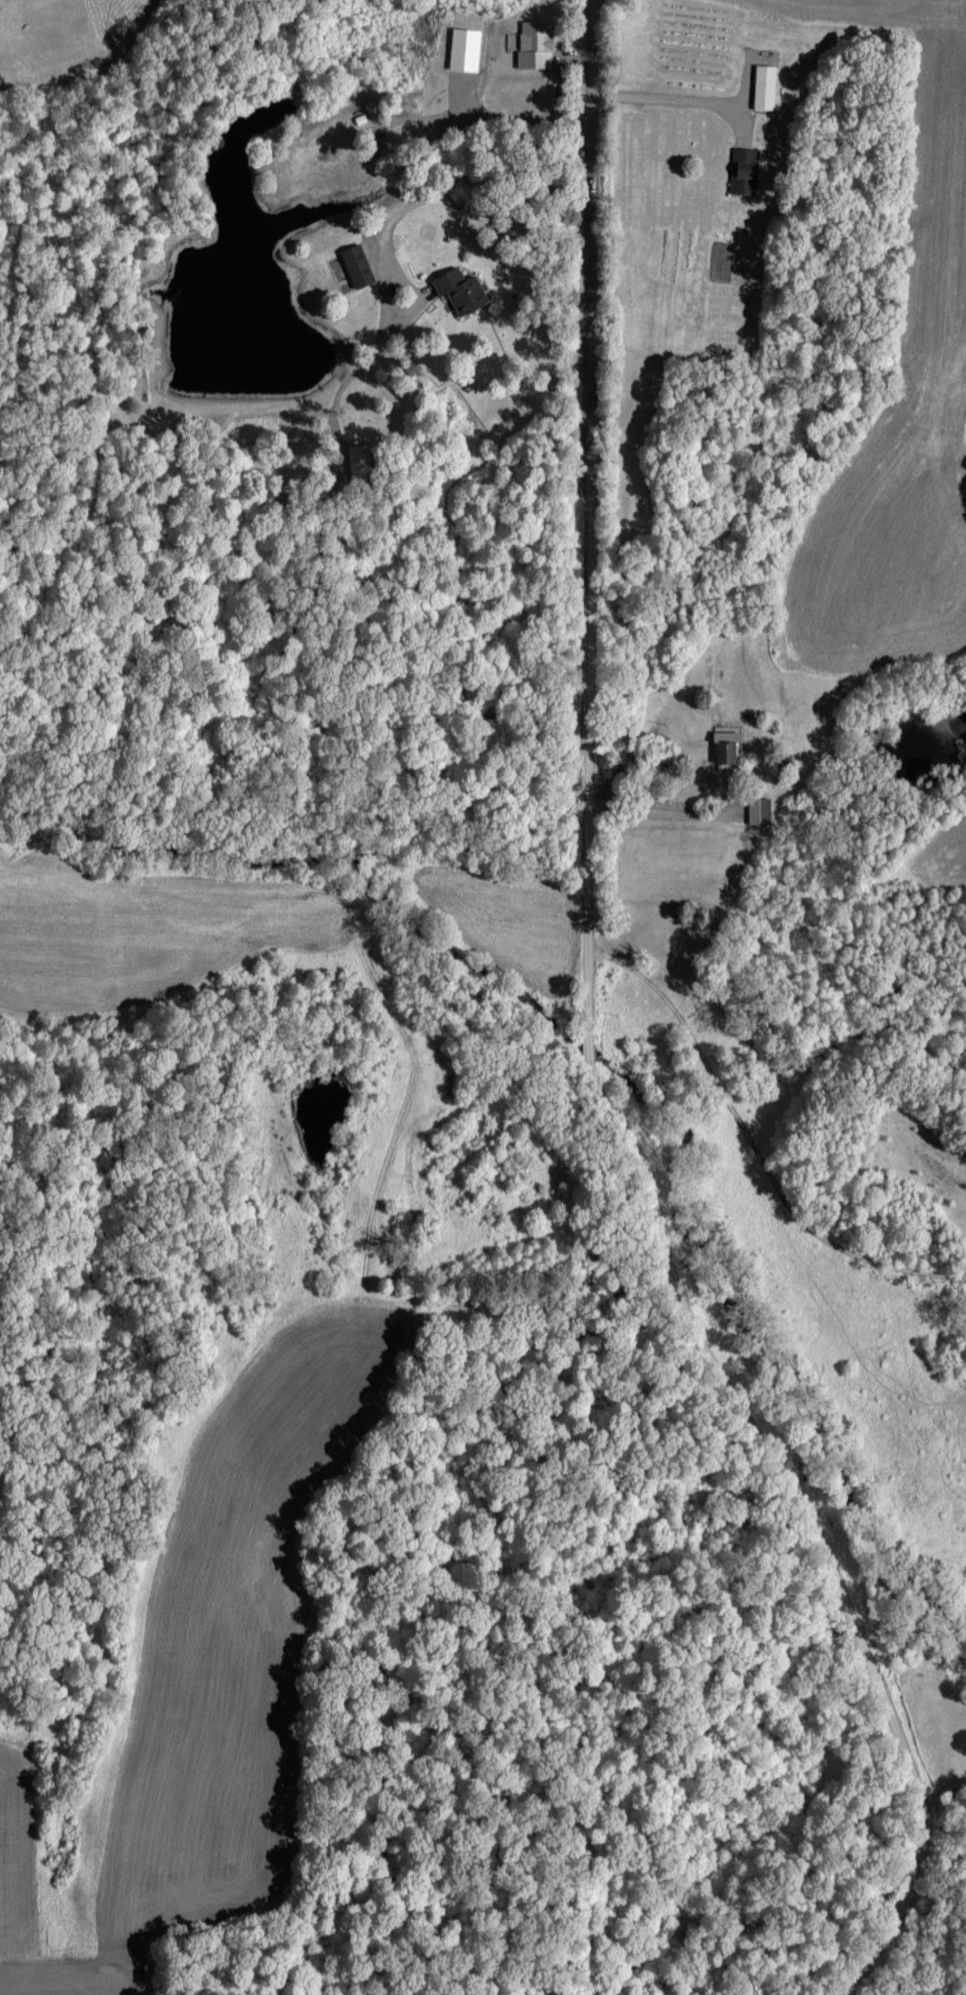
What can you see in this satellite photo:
building: (535, 43)
building: (764, 86)
road: (675, 96)
building: (745, 170)
road: (455, 181)
building: (357, 265)
building: (460, 290)
building: (726, 745)
road: (662, 808)
building: (759, 810)
road: (585, 1051)
road: (752, 1144)
road: (288, 1323)
road: (945, 1803)

